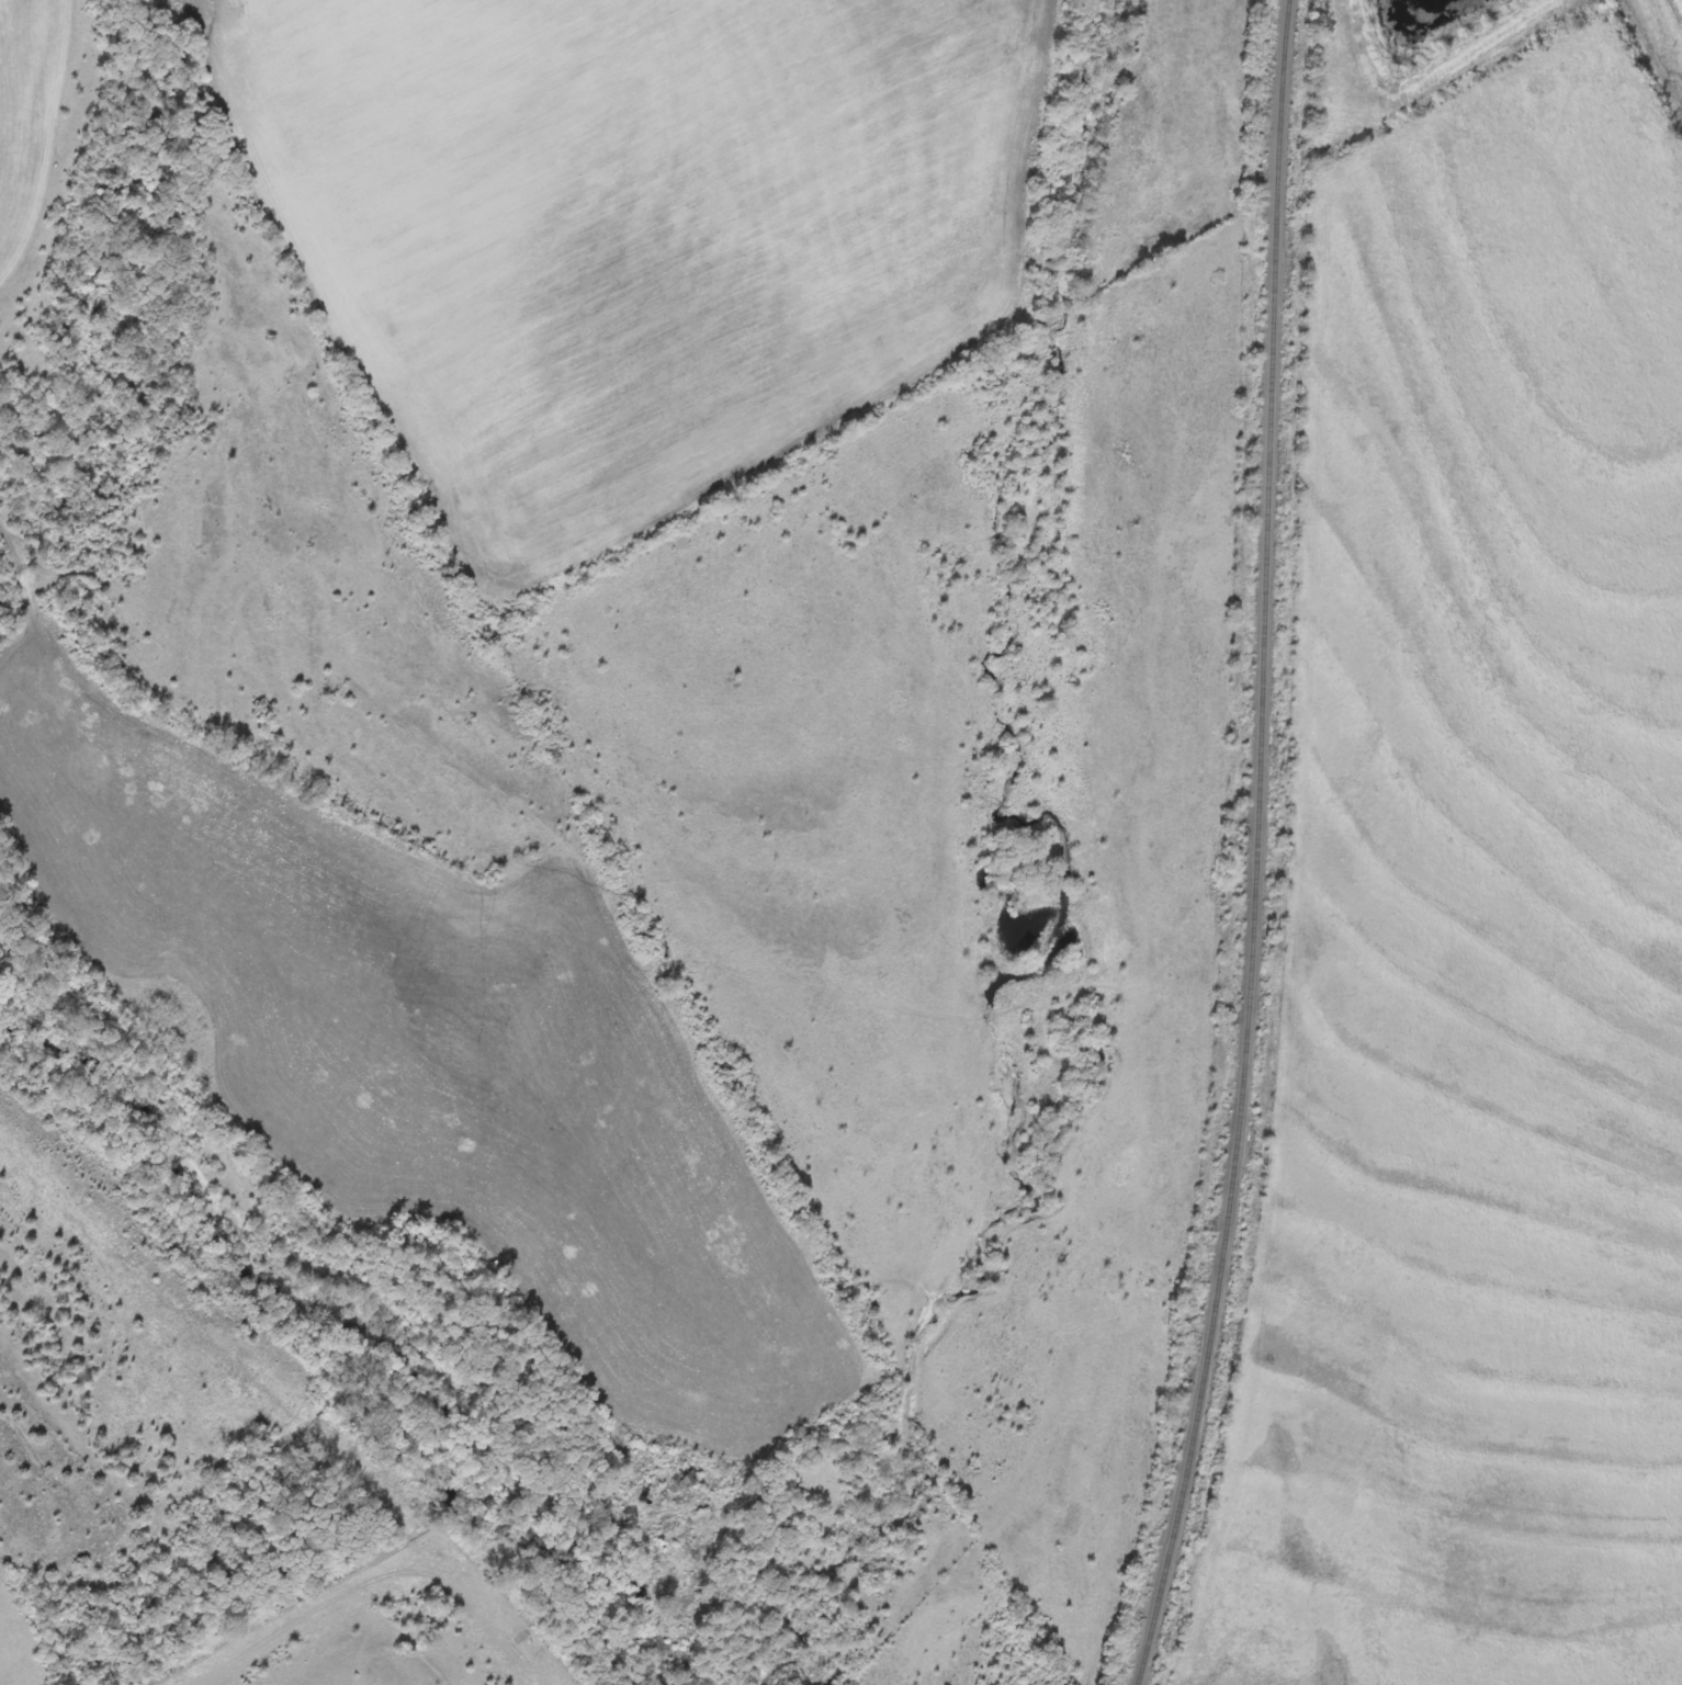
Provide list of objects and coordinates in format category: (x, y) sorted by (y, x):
railway: (1257, 847)

